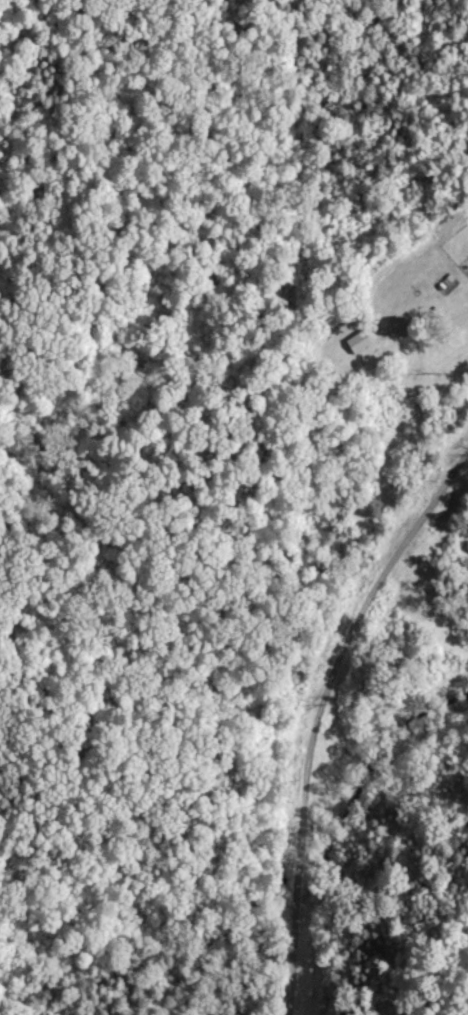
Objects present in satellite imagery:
road: (315, 711)

